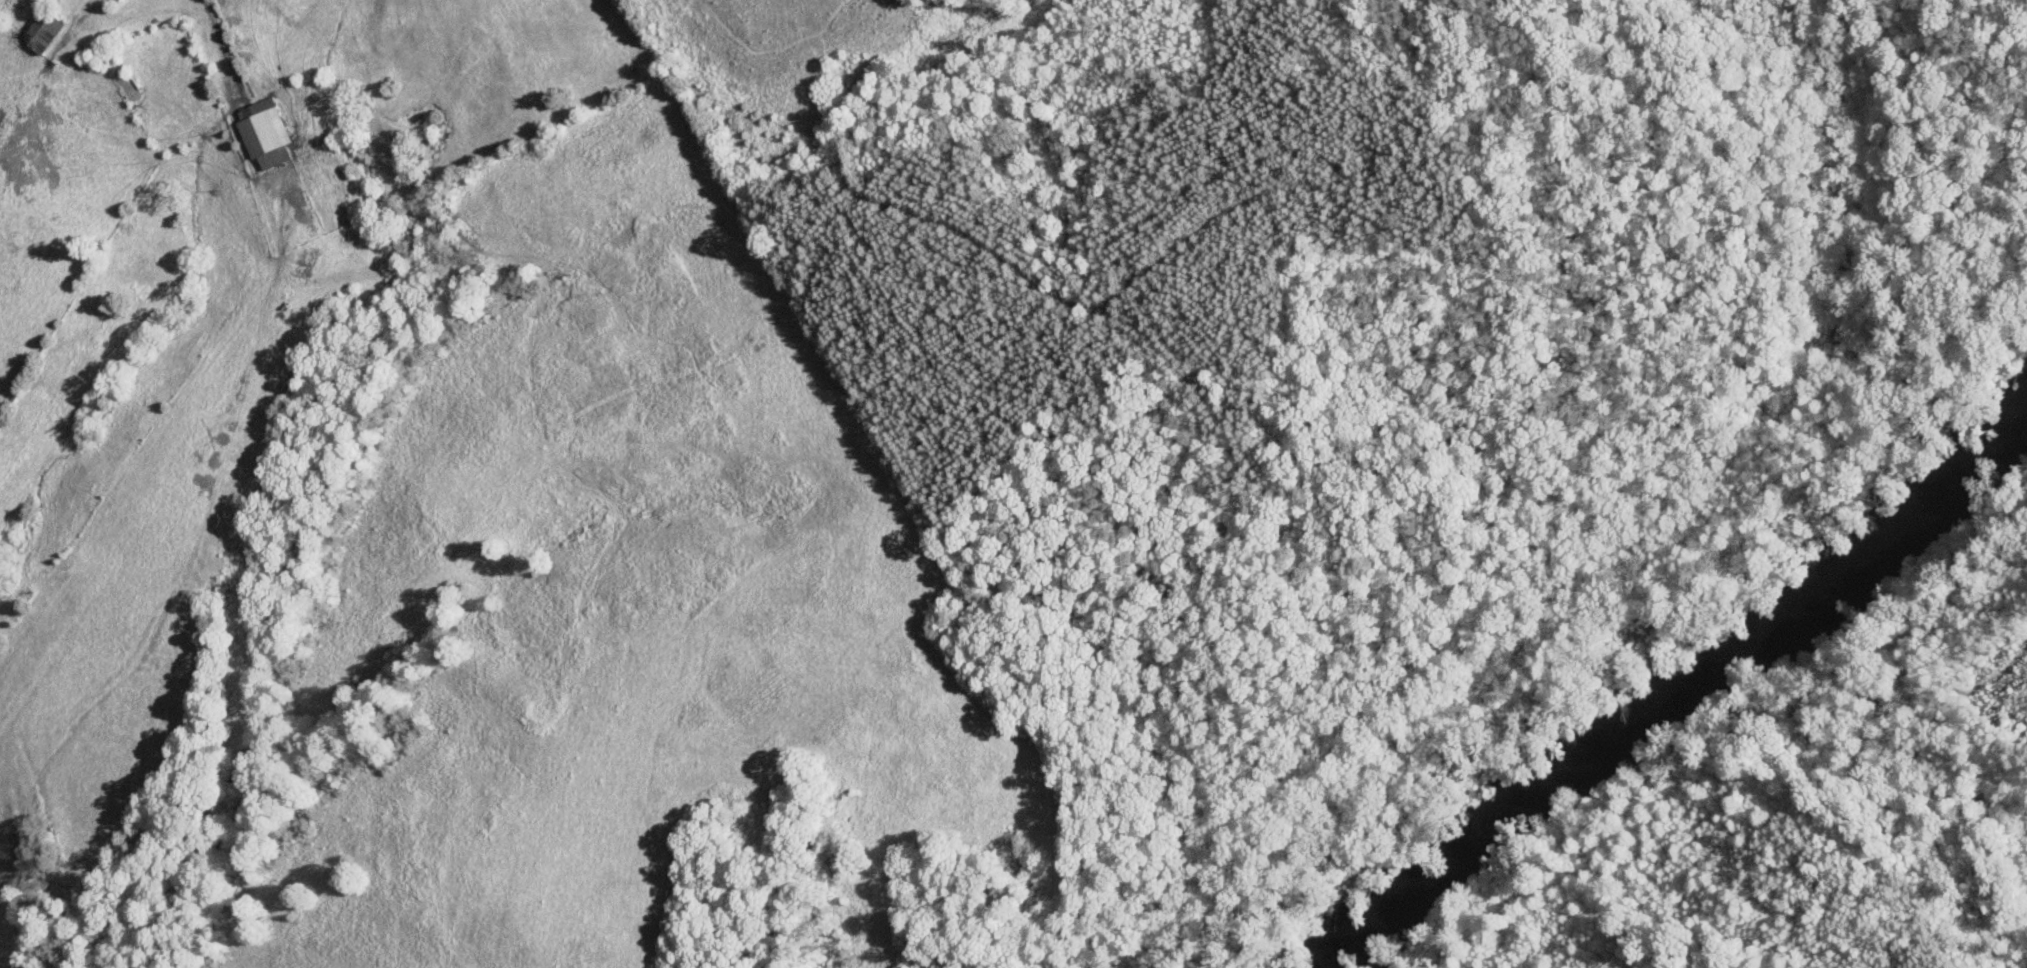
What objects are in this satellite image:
road: (88, 13)
river: (1995, 444)
river: (1873, 574)
river: (1546, 803)

